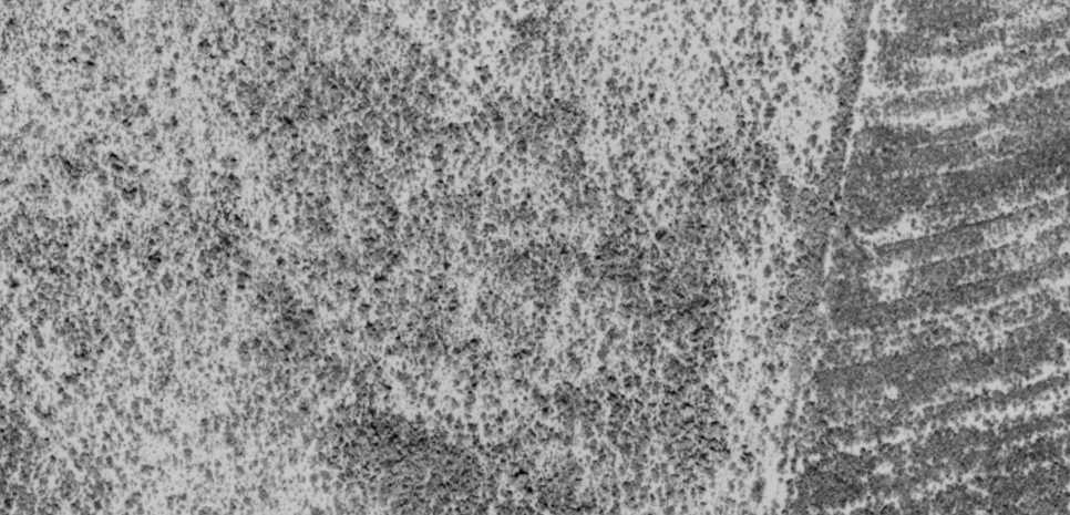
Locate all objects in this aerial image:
road: (825, 227)

